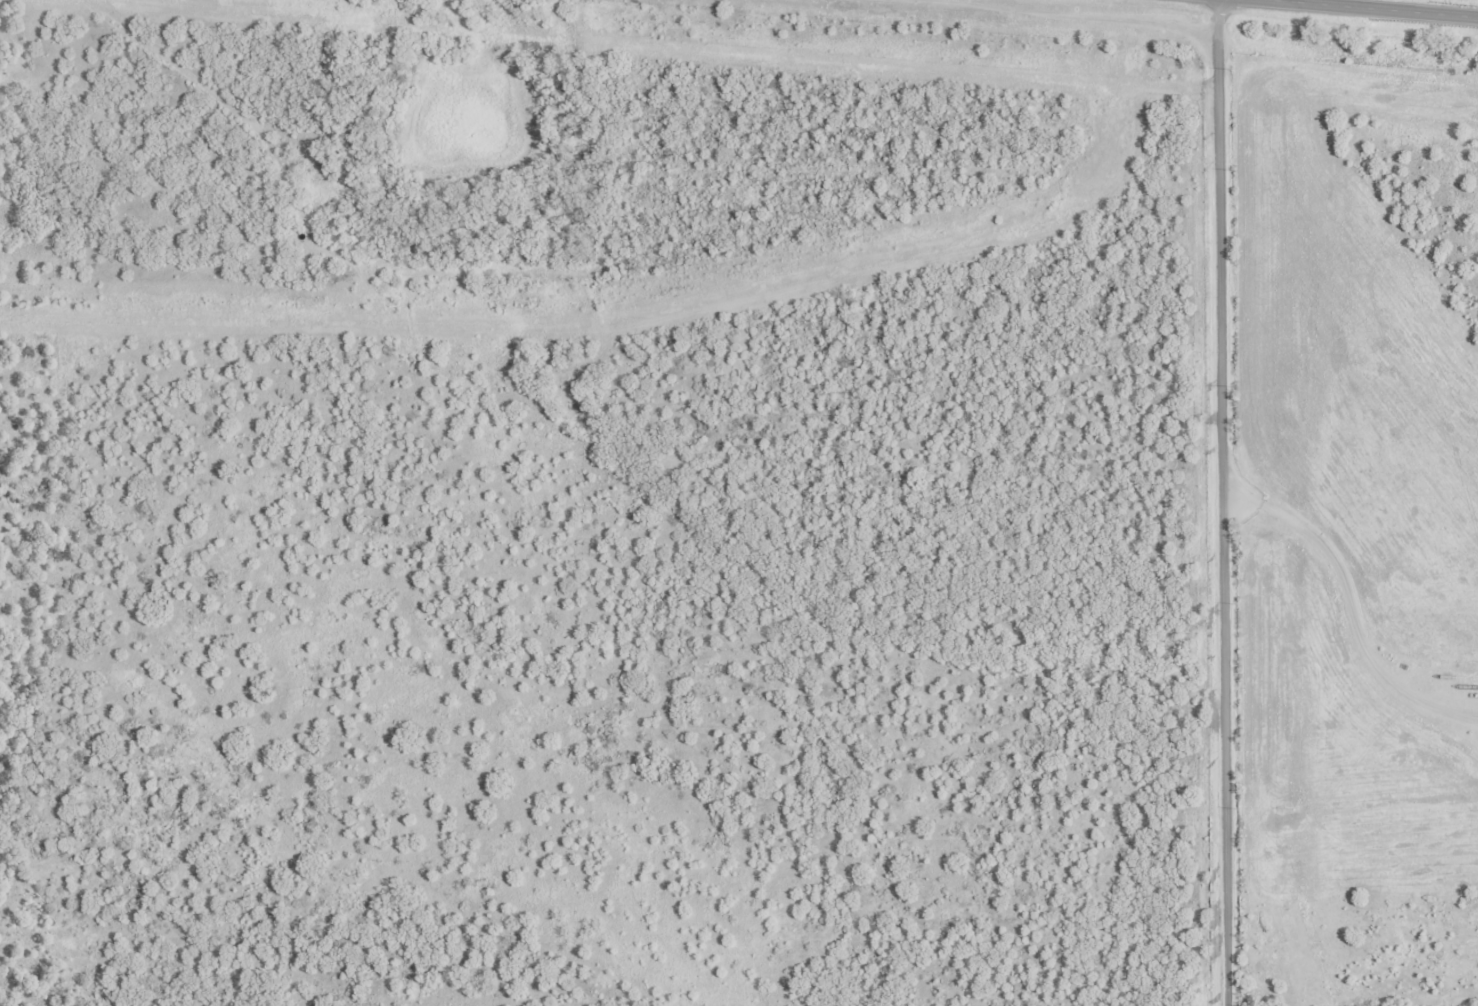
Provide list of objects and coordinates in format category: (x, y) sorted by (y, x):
road: (1378, 8)
road: (1221, 502)

